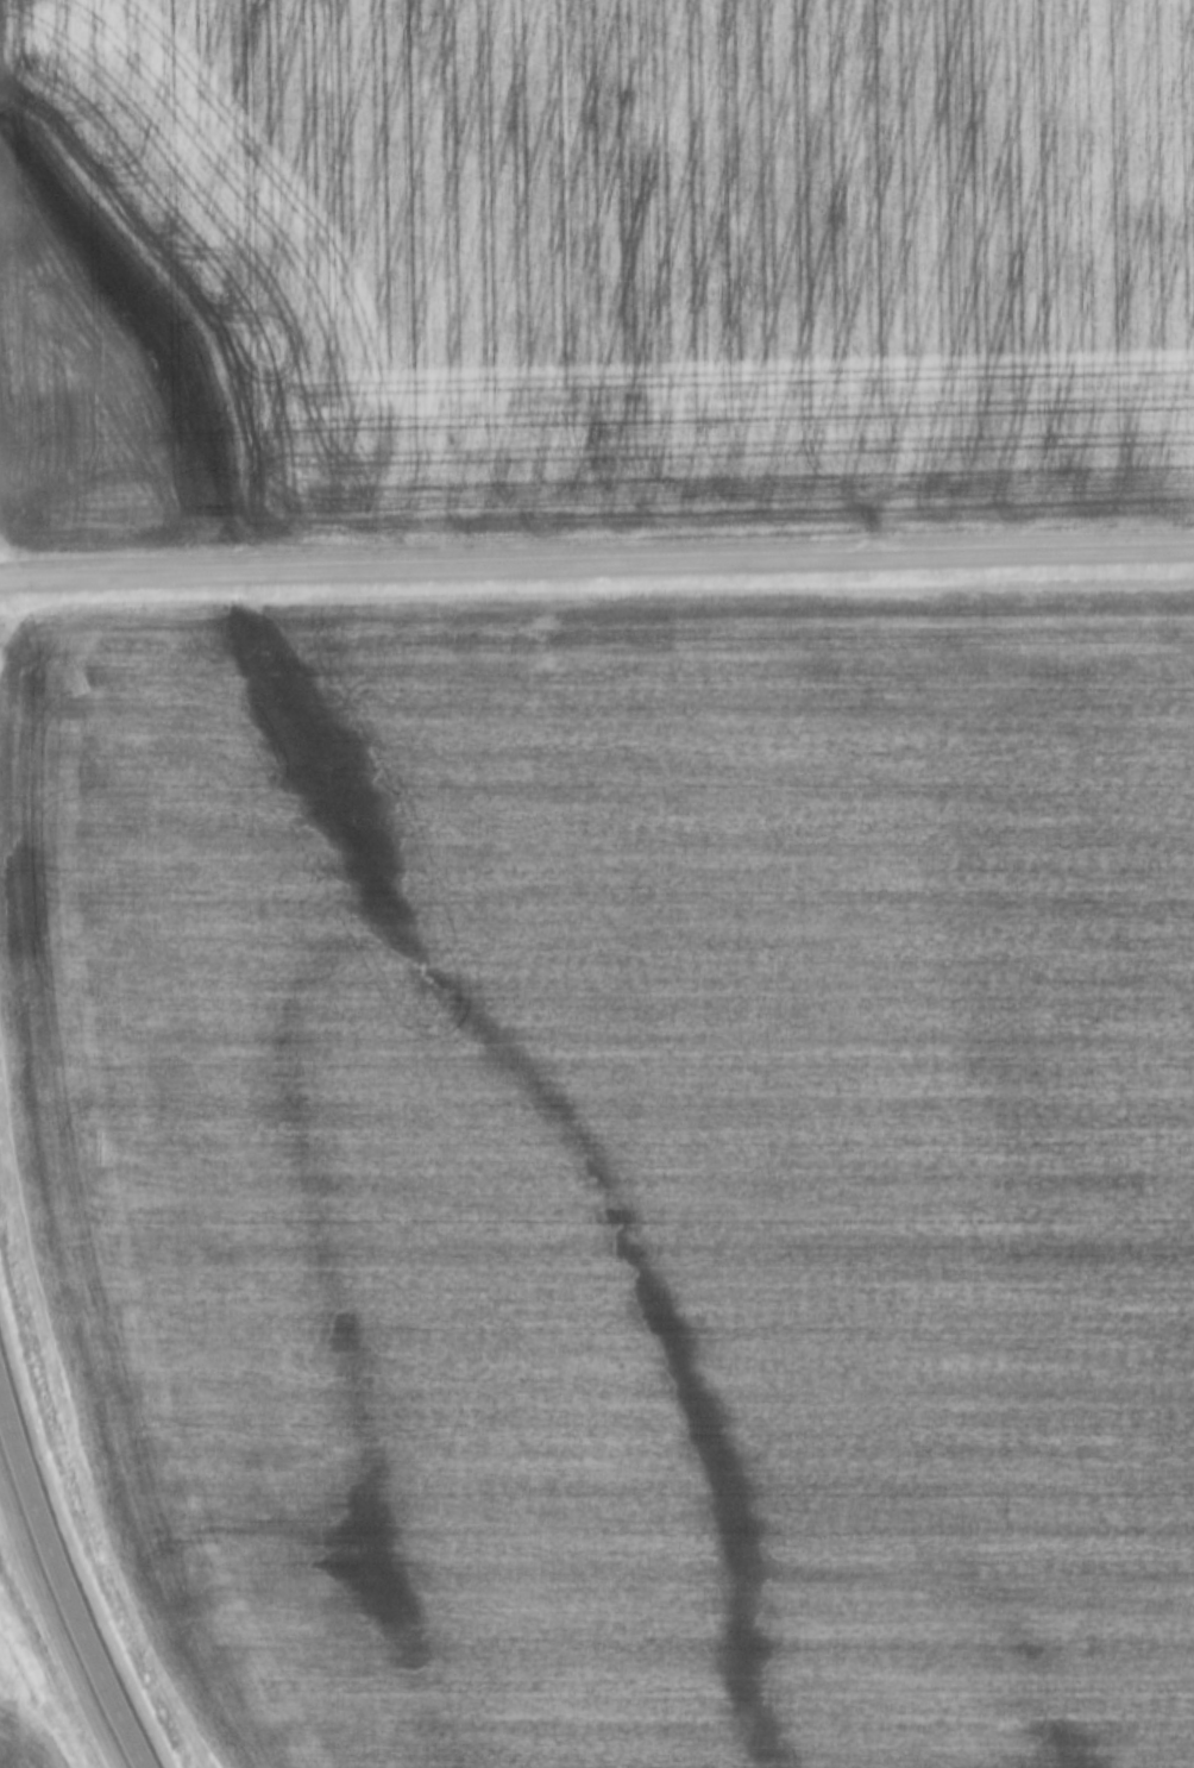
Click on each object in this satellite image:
crop: (590, 270)
road: (597, 566)
crop: (622, 1165)
road: (63, 1578)
crop: (20, 1741)

